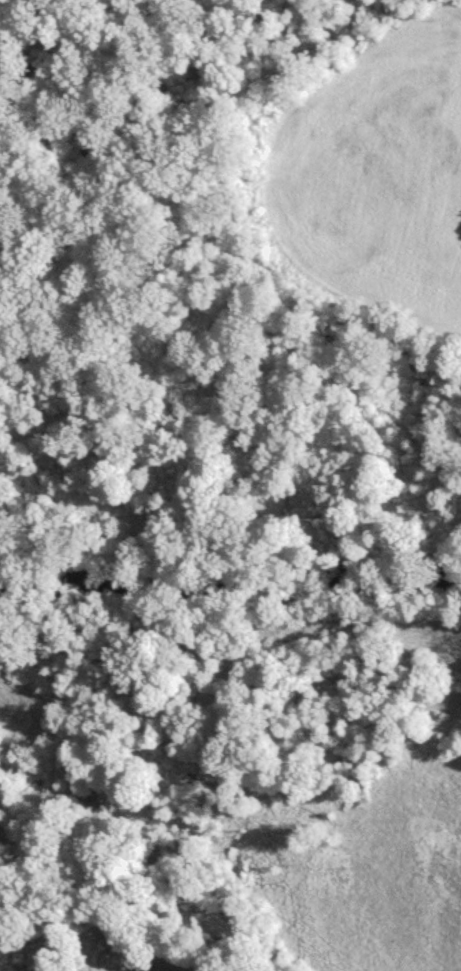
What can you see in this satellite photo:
river: (230, 587)

